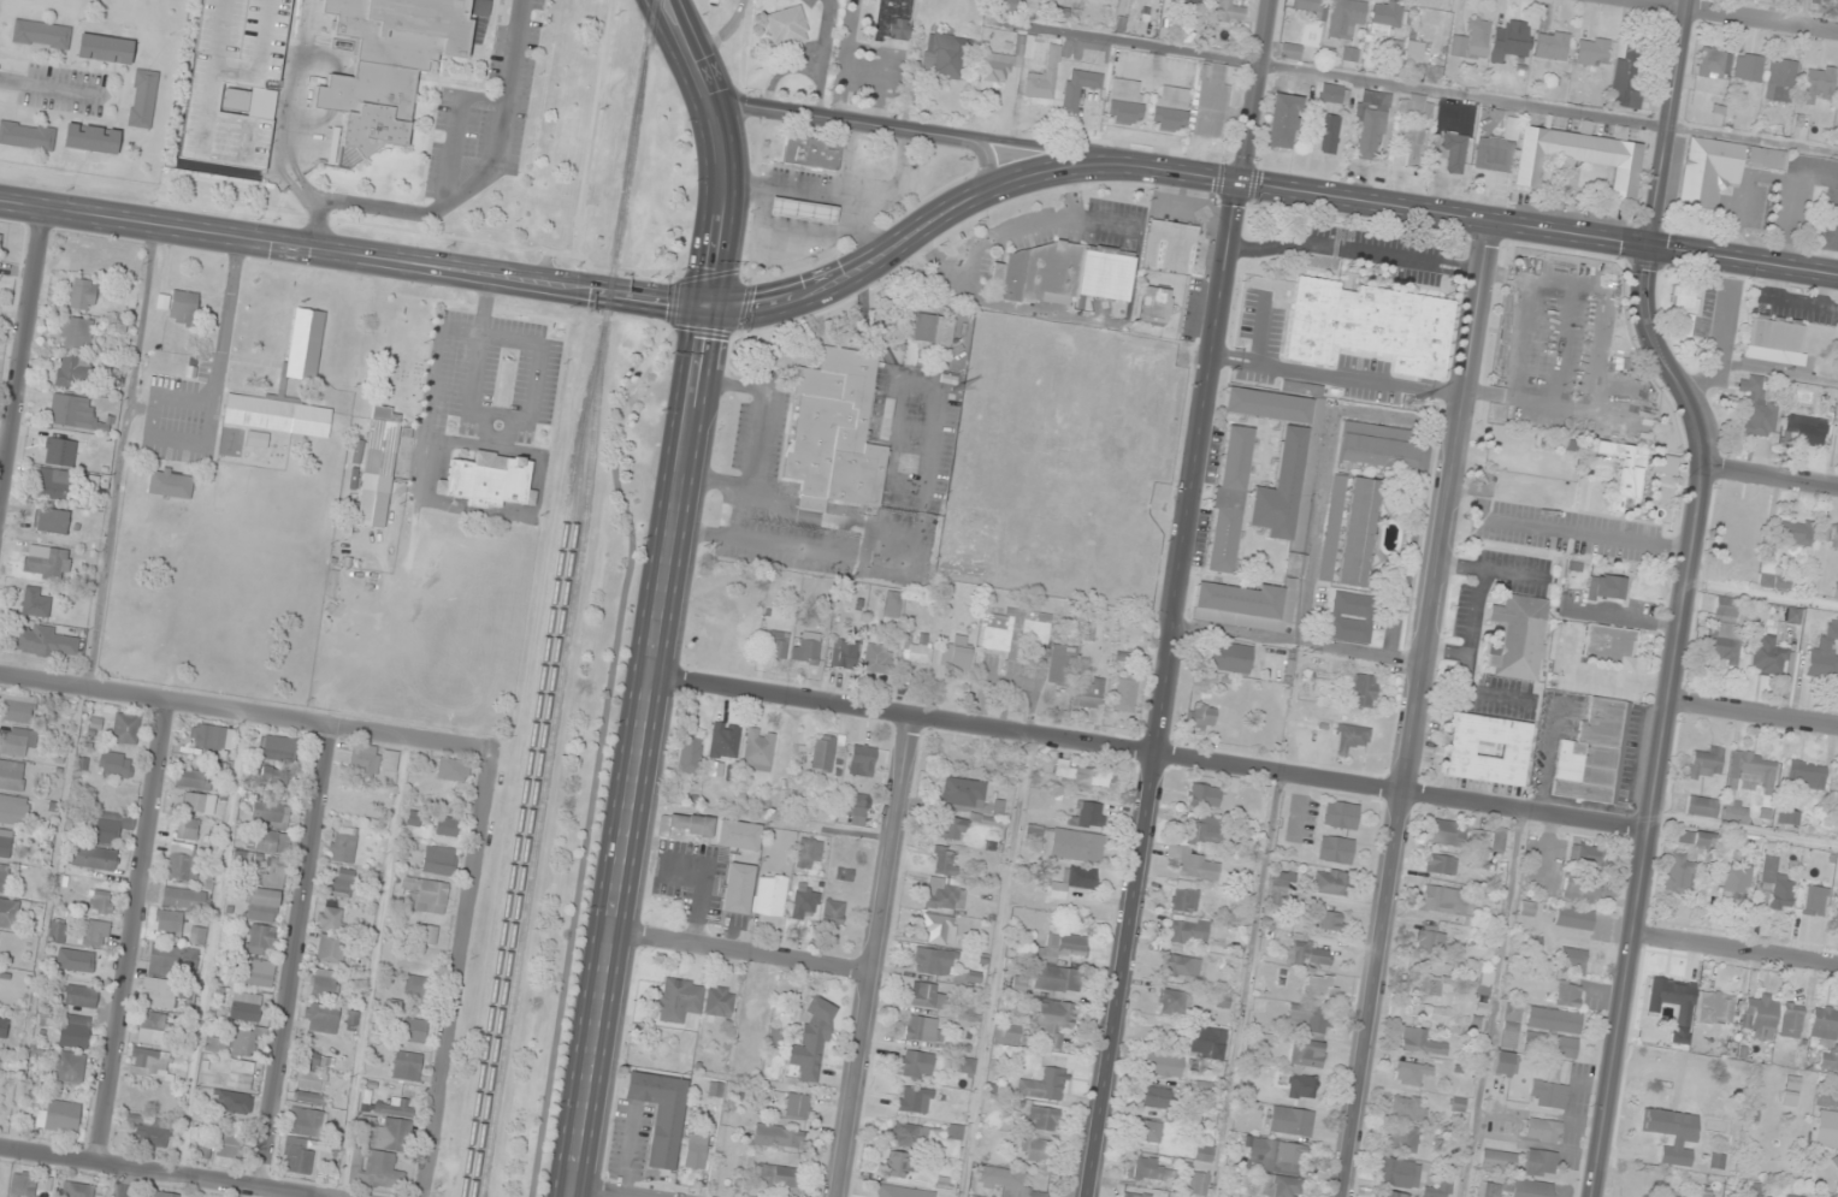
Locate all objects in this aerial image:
building: (1836, 0)
building: (1184, 1)
building: (1003, 4)
building: (1307, 5)
building: (1229, 11)
road: (1799, 12)
road: (1741, 14)
building: (1346, 17)
building: (1387, 17)
building: (892, 20)
building: (787, 29)
building: (41, 34)
road: (726, 34)
road: (260, 37)
building: (1471, 40)
building: (1511, 41)
building: (1550, 45)
building: (105, 48)
road: (215, 49)
building: (1290, 51)
building: (1591, 51)
building: (1394, 53)
building: (1351, 54)
building: (944, 55)
building: (1712, 63)
building: (385, 64)
building: (1000, 64)
building: (1748, 67)
road: (249, 75)
building: (1629, 78)
building: (1780, 79)
building: (1042, 81)
building: (1818, 84)
building: (1078, 87)
road: (1252, 89)
building: (1334, 94)
building: (142, 99)
building: (236, 99)
building: (1211, 99)
building: (1124, 101)
building: (1414, 105)
road: (282, 107)
building: (1169, 107)
road: (837, 119)
building: (1283, 120)
building: (1371, 122)
road: (456, 125)
road: (1663, 125)
building: (1326, 132)
building: (26, 136)
building: (90, 138)
building: (1453, 143)
building: (1412, 146)
road: (1040, 148)
building: (1495, 150)
building: (810, 153)
building: (1579, 156)
road: (983, 158)
building: (230, 168)
building: (1720, 168)
road: (485, 173)
traffic signals: (1240, 179)
building: (802, 211)
road: (314, 223)
building: (1170, 247)
traffic signals: (1642, 251)
road: (1739, 263)
building: (1062, 273)
road: (833, 282)
building: (82, 295)
building: (1154, 304)
building: (1685, 306)
building: (184, 307)
traffic signals: (707, 308)
building: (1369, 326)
building: (932, 328)
building: (75, 333)
building: (1774, 340)
building: (305, 344)
road: (22, 355)
building: (75, 373)
building: (1757, 407)
building: (72, 411)
building: (1837, 413)
building: (277, 414)
building: (1804, 429)
building: (829, 431)
building: (258, 439)
building: (1378, 446)
building: (59, 451)
building: (1286, 455)
building: (377, 468)
building: (1623, 473)
road: (1767, 473)
building: (489, 481)
building: (171, 482)
building: (52, 484)
building: (1229, 499)
building: (52, 521)
building: (1349, 531)
building: (1793, 533)
building: (1831, 533)
building: (46, 563)
building: (1295, 564)
building: (1772, 576)
building: (1609, 587)
building: (1836, 591)
road: (663, 593)
railway: (572, 599)
building: (36, 602)
building: (1245, 605)
building: (1725, 606)
building: (891, 609)
building: (1792, 616)
building: (1352, 617)
building: (1015, 630)
building: (741, 635)
building: (1518, 636)
building: (47, 641)
building: (1724, 644)
building: (776, 645)
building: (1608, 645)
building: (805, 646)
building: (917, 648)
building: (1825, 652)
building: (844, 653)
building: (956, 653)
building: (1767, 656)
building: (1230, 657)
building: (877, 658)
building: (1060, 665)
building: (1198, 682)
road: (1165, 688)
building: (1360, 691)
building: (1088, 692)
building: (1125, 694)
building: (18, 707)
road: (1416, 710)
road: (247, 712)
road: (1754, 713)
building: (1200, 716)
road: (1666, 719)
building: (125, 728)
building: (207, 736)
building: (1351, 737)
building: (14, 741)
building: (723, 741)
building: (278, 747)
building: (758, 748)
building: (1487, 749)
building: (823, 752)
road: (1150, 753)
building: (691, 754)
building: (1594, 754)
building: (389, 759)
building: (364, 760)
building: (862, 760)
building: (1704, 763)
building: (116, 764)
building: (453, 769)
building: (1751, 771)
building: (11, 775)
building: (1806, 775)
building: (1085, 776)
building: (273, 777)
building: (193, 778)
building: (963, 792)
building: (1206, 795)
building: (199, 802)
building: (1702, 806)
building: (859, 808)
building: (13, 810)
building: (1736, 811)
building: (270, 813)
building: (1087, 814)
building: (1341, 814)
building: (1792, 817)
building: (686, 824)
building: (448, 826)
building: (188, 828)
building: (952, 828)
building: (1205, 829)
building: (106, 831)
building: (1446, 831)
building: (738, 835)
building: (1478, 835)
building: (1697, 837)
building: (265, 840)
building: (1499, 840)
building: (5, 843)
building: (343, 843)
building: (1074, 845)
building: (1335, 849)
building: (808, 853)
building: (1585, 853)
building: (94, 858)
building: (438, 860)
building: (945, 860)
building: (182, 861)
building: (1193, 864)
building: (1441, 864)
building: (1679, 872)
building: (271, 873)
building: (2, 877)
building: (1066, 882)
building: (1330, 882)
building: (342, 883)
building: (1278, 883)
building: (1736, 883)
building: (1775, 887)
building: (738, 888)
building: (1580, 890)
building: (770, 894)
building: (945, 894)
building: (425, 895)
building: (1184, 896)
building: (183, 897)
building: (1443, 900)
building: (1814, 900)
building: (101, 902)
building: (805, 902)
building: (261, 905)
building: (1836, 907)
building: (7, 913)
building: (833, 913)
building: (1237, 913)
building: (1573, 917)
building: (1328, 919)
building: (169, 922)
building: (938, 928)
building: (57, 932)
road: (134, 932)
building: (1195, 932)
building: (96, 934)
building: (427, 934)
building: (197, 935)
building: (331, 936)
building: (259, 938)
building: (1430, 940)
road: (211, 943)
building: (1062, 946)
road: (1736, 950)
building: (1307, 952)
road: (743, 953)
road: (295, 955)
road: (874, 956)
building: (75, 959)
building: (1573, 959)
building: (172, 960)
building: (933, 961)
building: (1181, 965)
road: (372, 967)
building: (258, 972)
road: (456, 974)
building: (1057, 978)
building: (323, 984)
building: (414, 984)
building: (1432, 984)
building: (1320, 985)
building: (158, 992)
building: (1568, 994)
building: (81, 995)
building: (927, 995)
building: (679, 999)
building: (1172, 1002)
building: (244, 1007)
building: (1715, 1008)
building: (1428, 1012)
building: (1760, 1015)
building: (321, 1018)
building: (1308, 1018)
building: (1054, 1020)
building: (1554, 1020)
building: (1791, 1020)
building: (1824, 1026)
building: (2, 1027)
building: (1511, 1027)
building: (153, 1029)
building: (923, 1029)
building: (414, 1030)
building: (73, 1031)
building: (1006, 1035)
building: (811, 1042)
building: (1208, 1042)
building: (1420, 1042)
building: (234, 1043)
building: (1550, 1044)
building: (1305, 1053)
building: (311, 1059)
building: (1830, 1060)
building: (148, 1061)
building: (1505, 1062)
building: (915, 1065)
building: (1163, 1065)
building: (67, 1066)
building: (965, 1066)
building: (406, 1067)
building: (1411, 1072)
building: (240, 1073)
building: (1044, 1084)
building: (1302, 1086)
building: (309, 1088)
building: (1548, 1094)
building: (1154, 1096)
building: (915, 1100)
building: (234, 1102)
building: (797, 1104)
building: (395, 1107)
building: (1407, 1107)
building: (661, 1113)
building: (61, 1116)
building: (1042, 1118)
building: (1290, 1120)
building: (307, 1121)
building: (1657, 1121)
building: (1826, 1128)
building: (1543, 1130)
building: (1148, 1131)
building: (909, 1134)
building: (150, 1136)
building: (779, 1137)
building: (1401, 1138)
building: (229, 1145)
building: (1035, 1148)
building: (201, 1149)
park: (1822, 1150)
building: (379, 1152)
building: (1204, 1152)
building: (300, 1154)
building: (1277, 1154)
building: (696, 1156)
building: (1497, 1160)
building: (1539, 1162)
building: (898, 1165)
building: (1145, 1168)
road: (161, 1172)
building: (1397, 1172)
park: (4, 1174)
building: (778, 1175)
road: (123, 1181)
building: (1006, 1181)
building: (1199, 1184)
building: (23, 1186)
building: (1282, 1186)
building: (1529, 1189)
building: (75, 1190)
road: (604, 1191)
building: (1438, 1191)
building: (164, 1193)
building: (891, 1193)
building: (1391, 1193)
building: (1135, 1195)
building: (971, 1196)
building: (1676, 1196)
building: (1706, 1196)
building: (1792, 1196)

